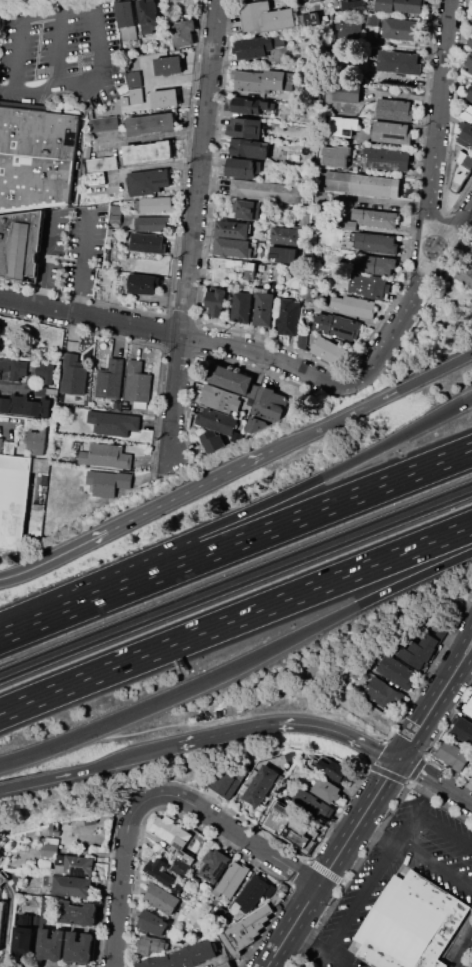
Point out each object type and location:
building: (314, 1)
building: (400, 5)
building: (353, 6)
building: (254, 15)
building: (148, 16)
building: (301, 18)
building: (279, 19)
building: (313, 19)
building: (373, 19)
building: (127, 20)
building: (471, 21)
road: (95, 23)
building: (403, 29)
building: (349, 30)
building: (183, 32)
road: (18, 35)
building: (470, 42)
road: (58, 46)
building: (253, 47)
parking lot: (61, 54)
building: (470, 60)
building: (400, 62)
building: (168, 65)
road: (65, 74)
building: (134, 79)
road: (77, 80)
building: (260, 81)
building: (289, 81)
road: (6, 91)
building: (347, 91)
road: (35, 93)
building: (317, 95)
building: (470, 95)
building: (136, 96)
building: (164, 98)
building: (124, 101)
building: (249, 105)
building: (394, 110)
building: (468, 112)
building: (102, 123)
building: (151, 123)
building: (344, 125)
building: (246, 127)
building: (392, 132)
building: (466, 133)
road: (435, 144)
building: (250, 148)
building: (87, 152)
building: (147, 152)
building: (337, 155)
building: (36, 158)
building: (388, 158)
building: (465, 159)
building: (102, 163)
building: (243, 167)
building: (94, 178)
building: (148, 181)
building: (360, 183)
building: (266, 191)
building: (157, 204)
building: (246, 209)
building: (116, 210)
road: (78, 211)
building: (374, 217)
building: (115, 219)
building: (153, 224)
building: (351, 226)
road: (193, 227)
building: (232, 228)
building: (285, 236)
building: (148, 242)
building: (376, 243)
building: (20, 245)
building: (232, 247)
parking lot: (73, 250)
building: (282, 254)
building: (376, 264)
building: (465, 273)
building: (218, 274)
building: (142, 283)
building: (367, 285)
road: (412, 299)
building: (215, 303)
building: (354, 305)
building: (242, 307)
building: (264, 309)
building: (289, 318)
building: (339, 326)
road: (176, 333)
park: (433, 334)
building: (56, 348)
building: (331, 350)
building: (4, 362)
building: (19, 369)
building: (46, 373)
building: (73, 375)
building: (110, 379)
building: (234, 380)
building: (137, 383)
road: (20, 386)
building: (51, 391)
building: (220, 399)
road: (374, 402)
building: (270, 404)
building: (25, 406)
road: (10, 418)
building: (217, 421)
building: (114, 422)
building: (255, 424)
building: (237, 436)
building: (36, 441)
building: (211, 441)
building: (0, 443)
building: (106, 456)
road: (426, 466)
building: (108, 482)
building: (13, 499)
road: (138, 517)
road: (237, 518)
building: (36, 519)
road: (190, 560)
railway: (235, 575)
railway: (235, 585)
road: (236, 618)
road: (309, 629)
road: (461, 641)
building: (421, 649)
road: (466, 658)
building: (396, 671)
building: (384, 694)
building: (469, 708)
road: (429, 711)
road: (286, 723)
building: (462, 729)
road: (74, 738)
road: (433, 742)
building: (291, 755)
building: (454, 755)
traffic signals: (398, 761)
building: (333, 770)
road: (85, 771)
building: (471, 778)
road: (435, 780)
building: (226, 782)
building: (261, 785)
building: (326, 790)
road: (158, 794)
building: (313, 804)
building: (271, 811)
road: (375, 833)
building: (298, 834)
building: (173, 835)
building: (50, 849)
road: (385, 853)
building: (165, 854)
road: (433, 862)
road: (333, 864)
building: (74, 865)
building: (214, 865)
building: (181, 867)
building: (159, 871)
building: (2, 877)
building: (232, 879)
building: (46, 880)
building: (71, 886)
building: (178, 888)
building: (270, 891)
building: (253, 893)
parking lot: (405, 896)
building: (162, 898)
building: (44, 910)
building: (78, 913)
building: (219, 913)
building: (1, 915)
building: (193, 918)
building: (29, 920)
building: (152, 923)
building: (414, 923)
building: (246, 929)
building: (23, 941)
building: (51, 945)
building: (152, 945)
building: (79, 948)
road: (463, 948)
road: (315, 950)
building: (182, 957)
park: (470, 961)
building: (225, 964)
road: (268, 966)
parking lot: (302, 966)

